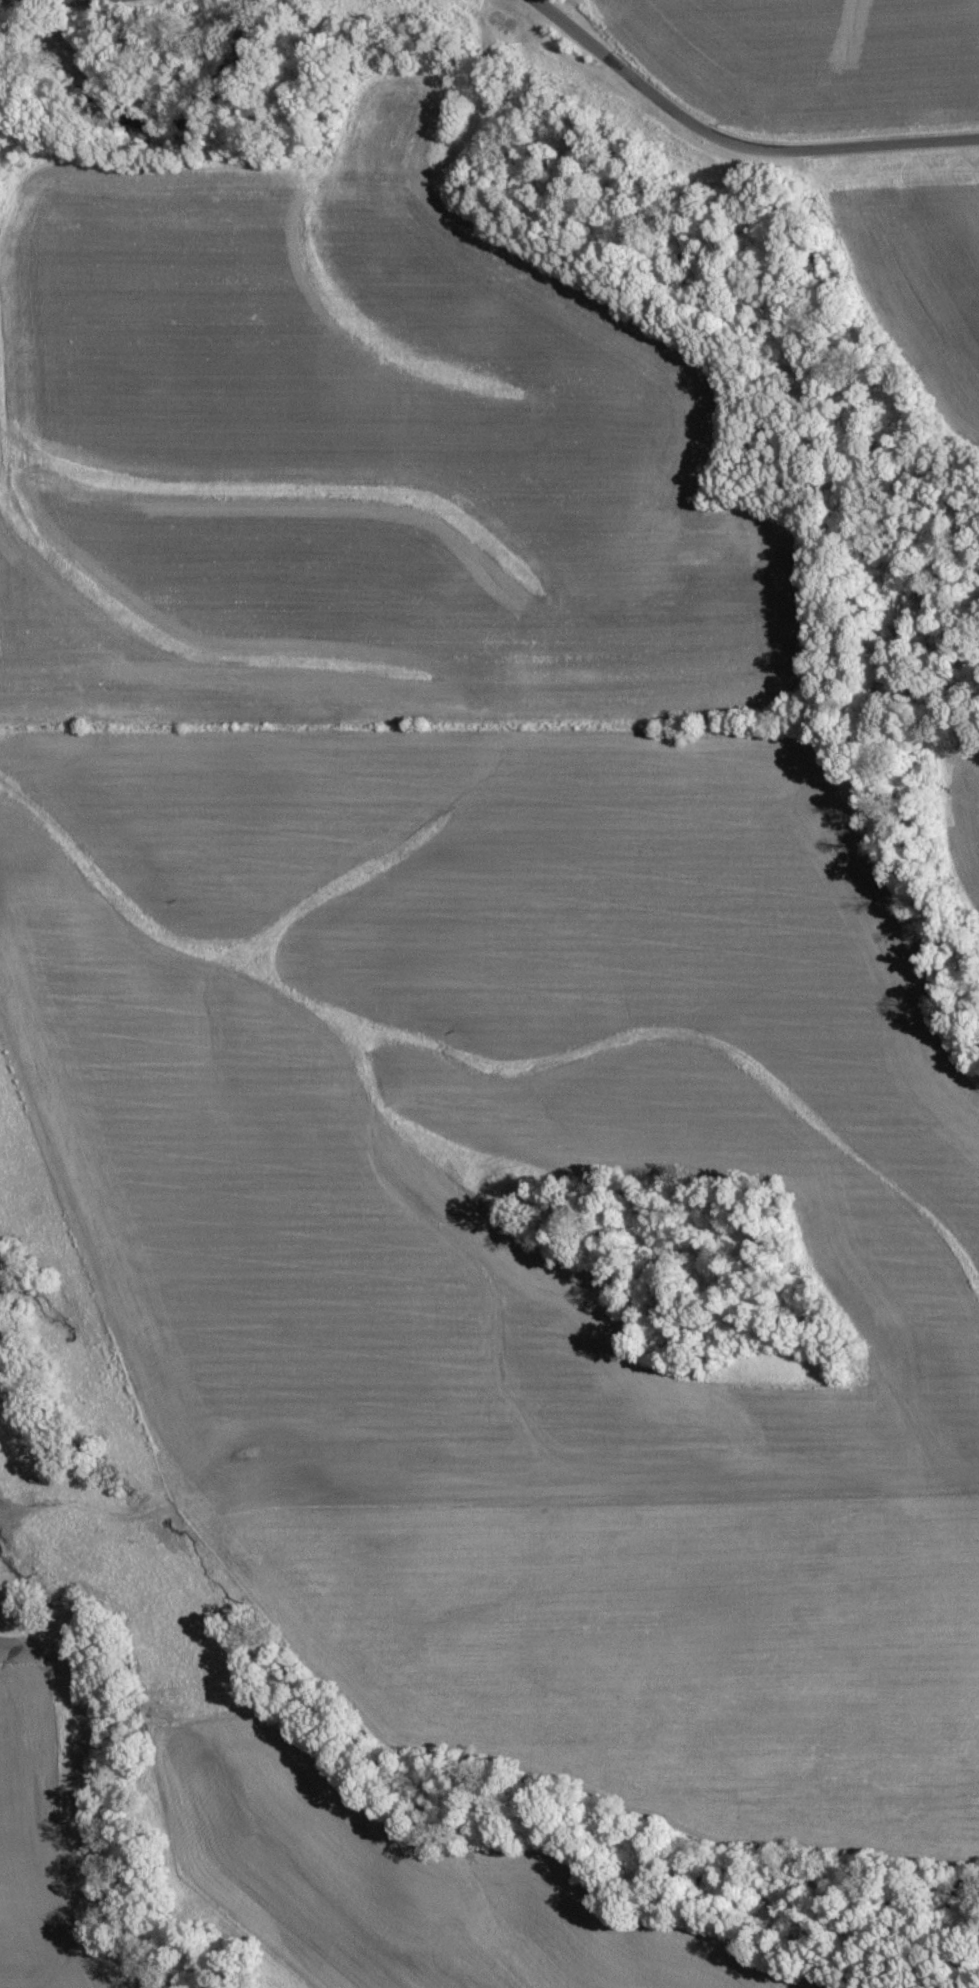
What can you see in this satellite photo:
road: (786, 119)

